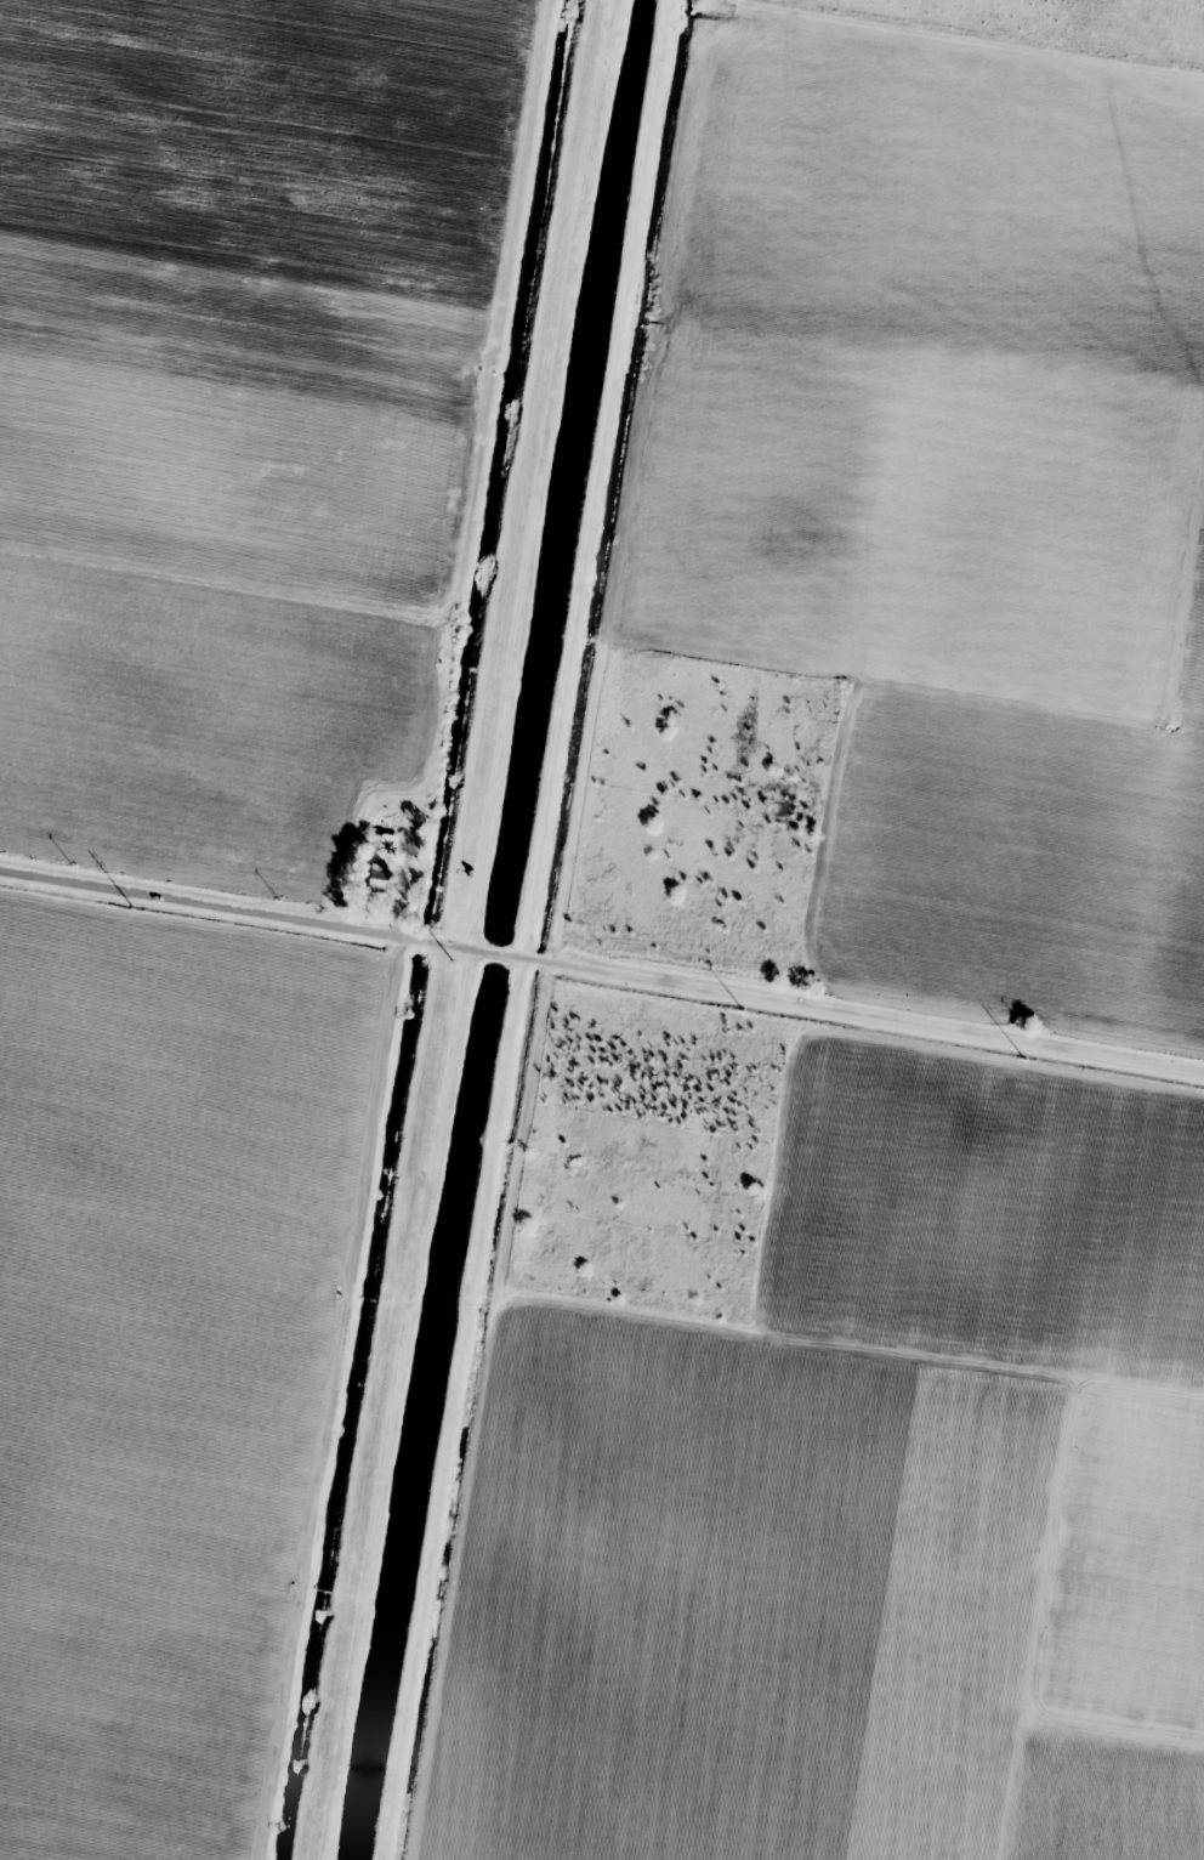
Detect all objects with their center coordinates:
building: (388, 834)
building: (380, 878)
road: (307, 923)
road: (909, 1026)

